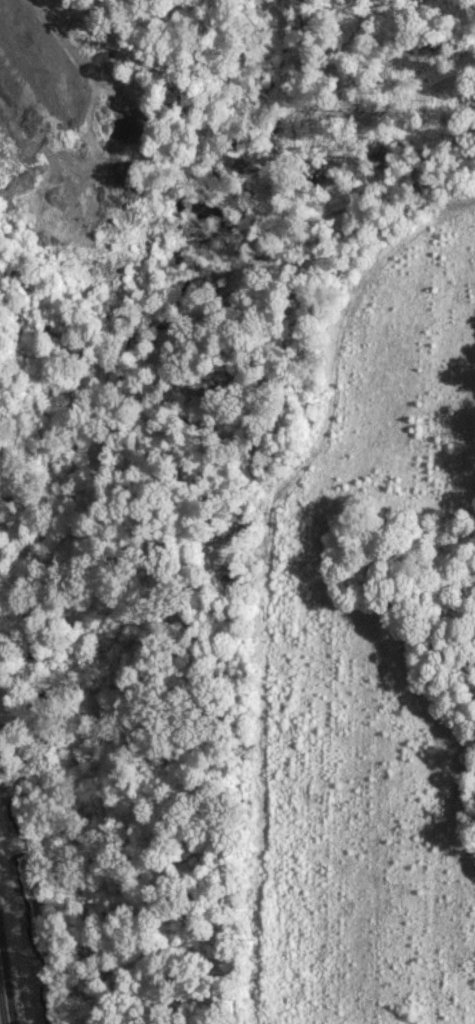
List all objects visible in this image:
road: (4, 996)

